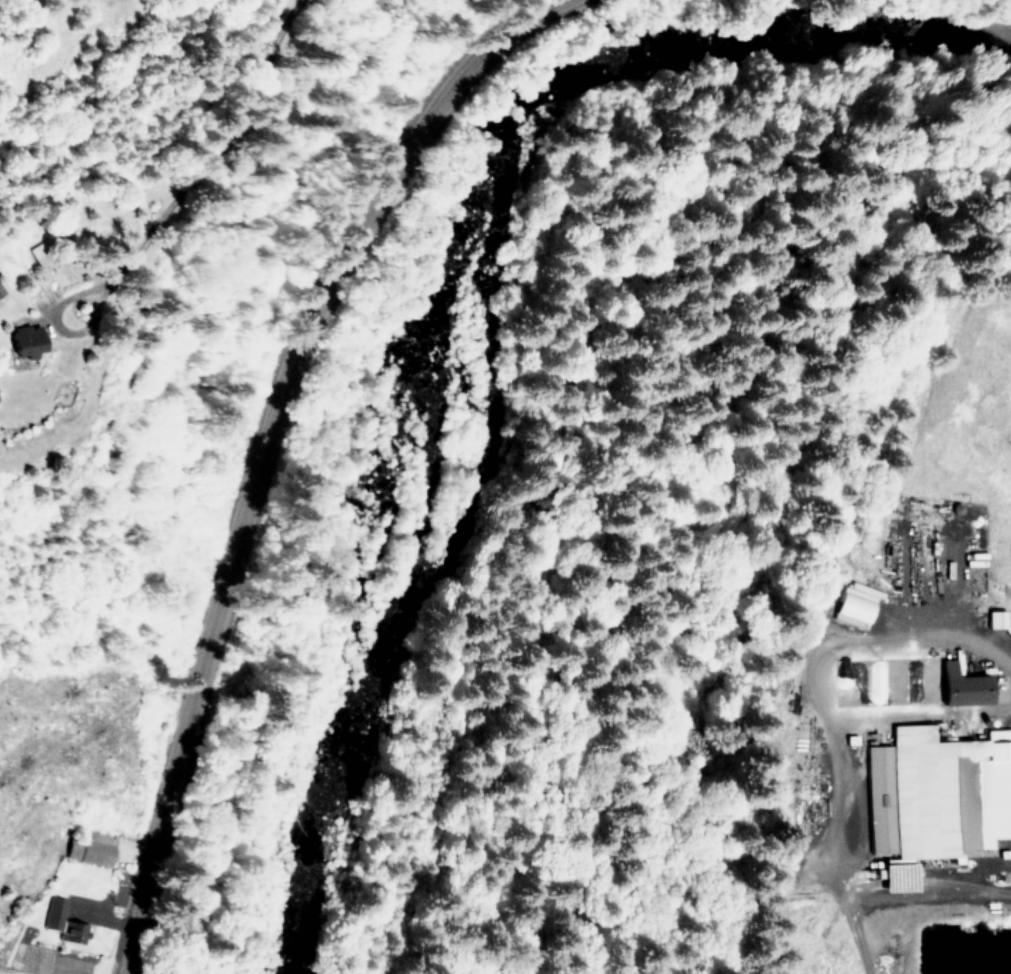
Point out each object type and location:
building: (0, 292)
building: (27, 341)
road: (261, 442)
building: (857, 604)
building: (996, 619)
building: (1009, 628)
road: (826, 678)
building: (965, 685)
crop: (917, 706)
road: (924, 717)
building: (936, 798)
building: (92, 852)
crop: (119, 872)
road: (928, 901)
building: (64, 922)
road: (861, 930)

